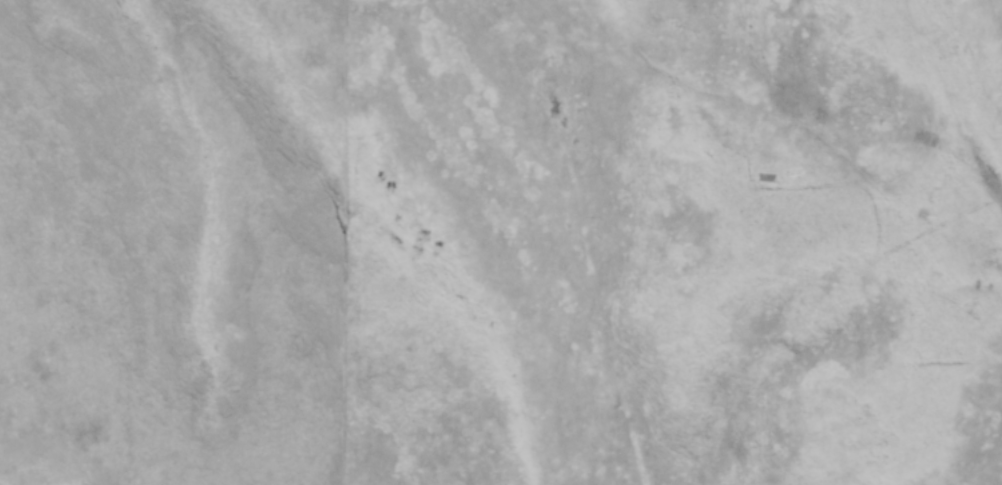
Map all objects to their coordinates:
building: (770, 180)

